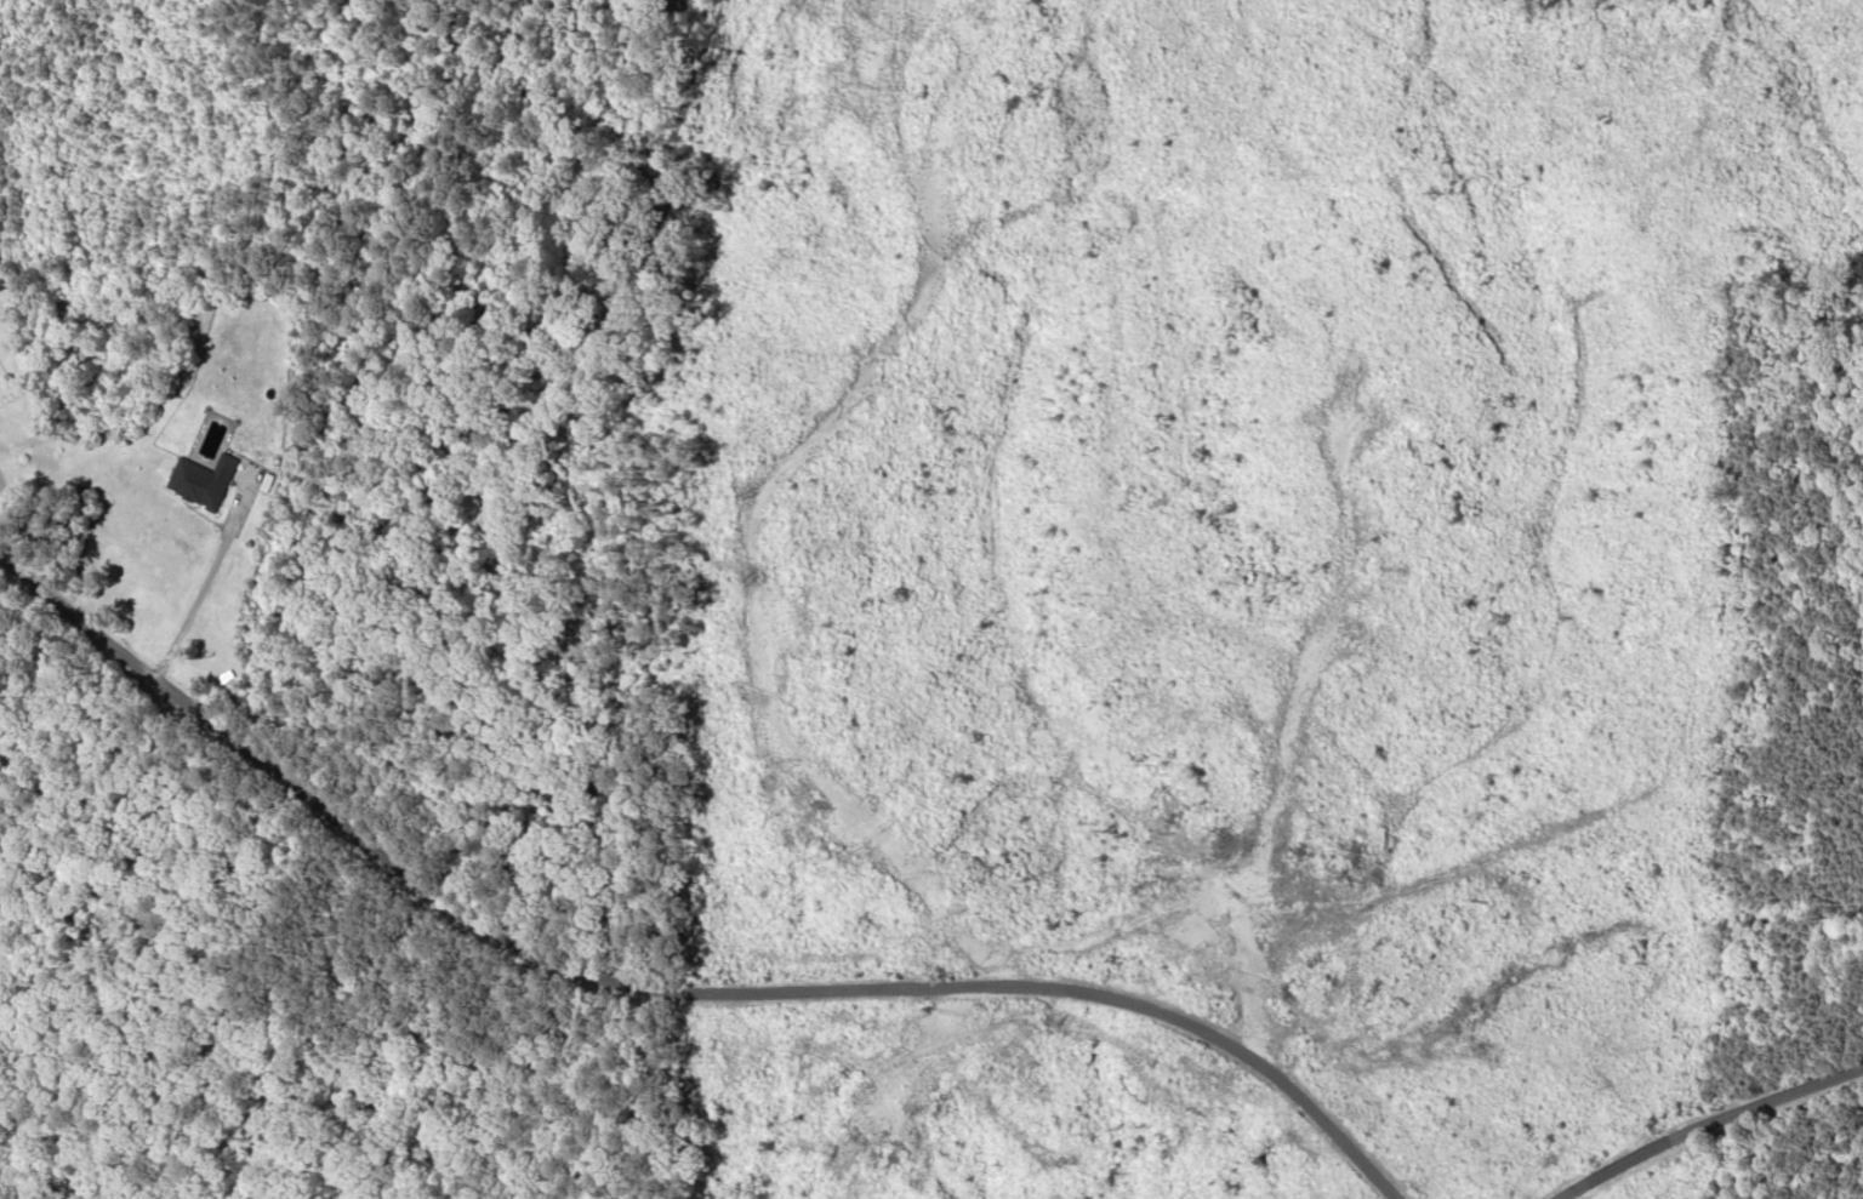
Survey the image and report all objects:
building: (203, 480)
road: (661, 992)
road: (1757, 1142)

